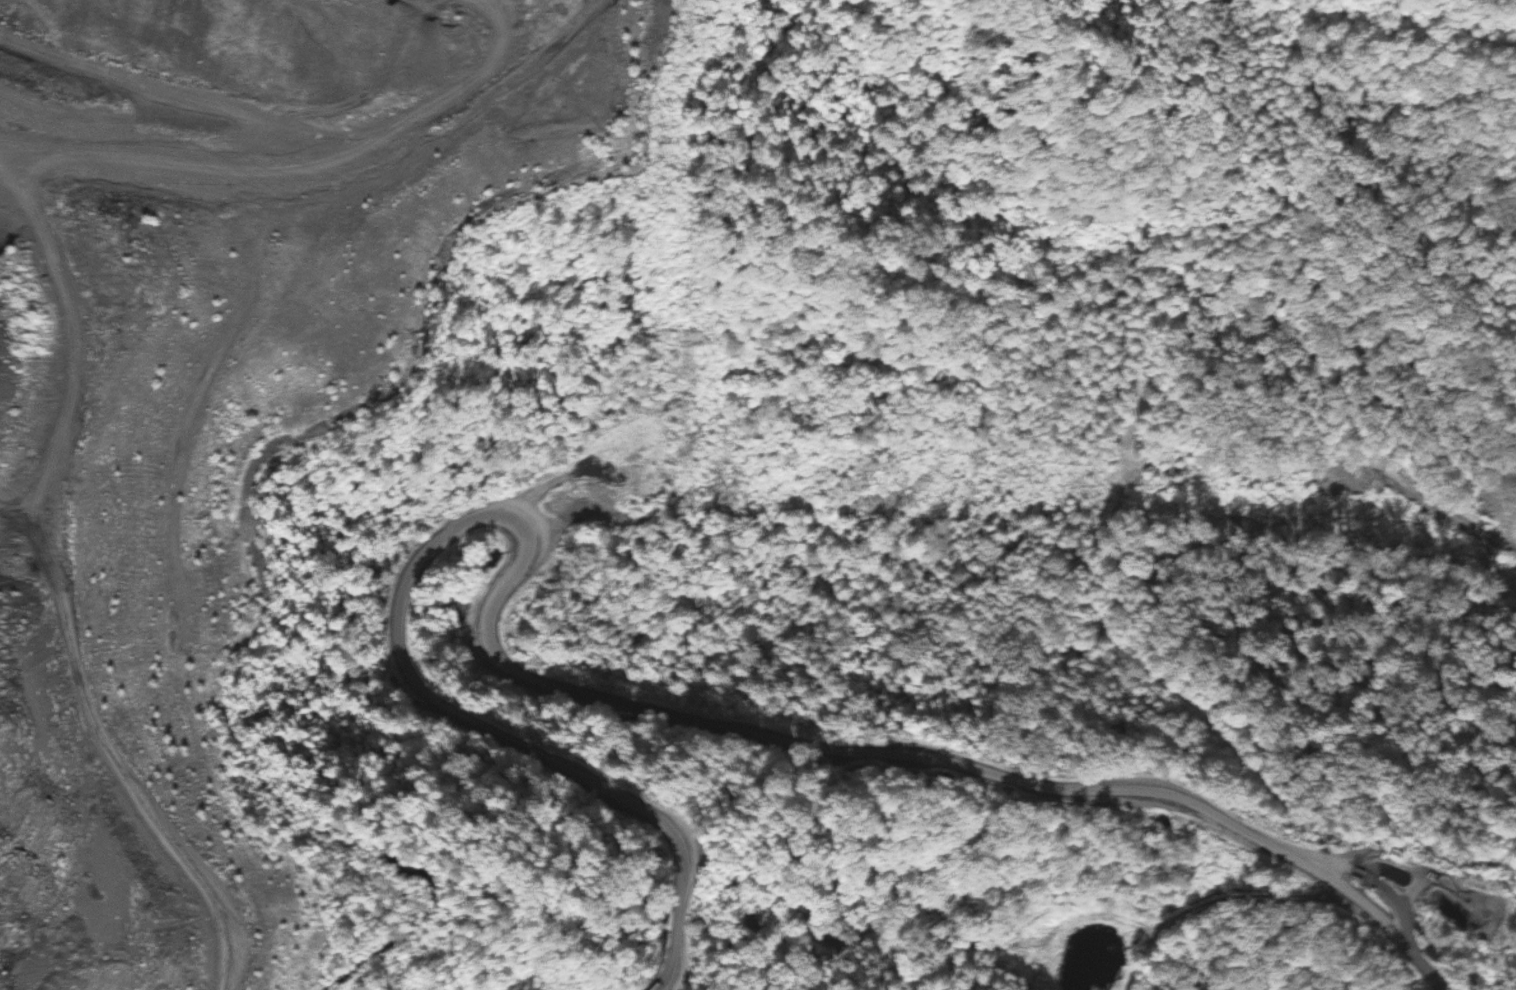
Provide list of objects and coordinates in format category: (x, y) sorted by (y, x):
road: (295, 144)
quarry: (248, 376)

